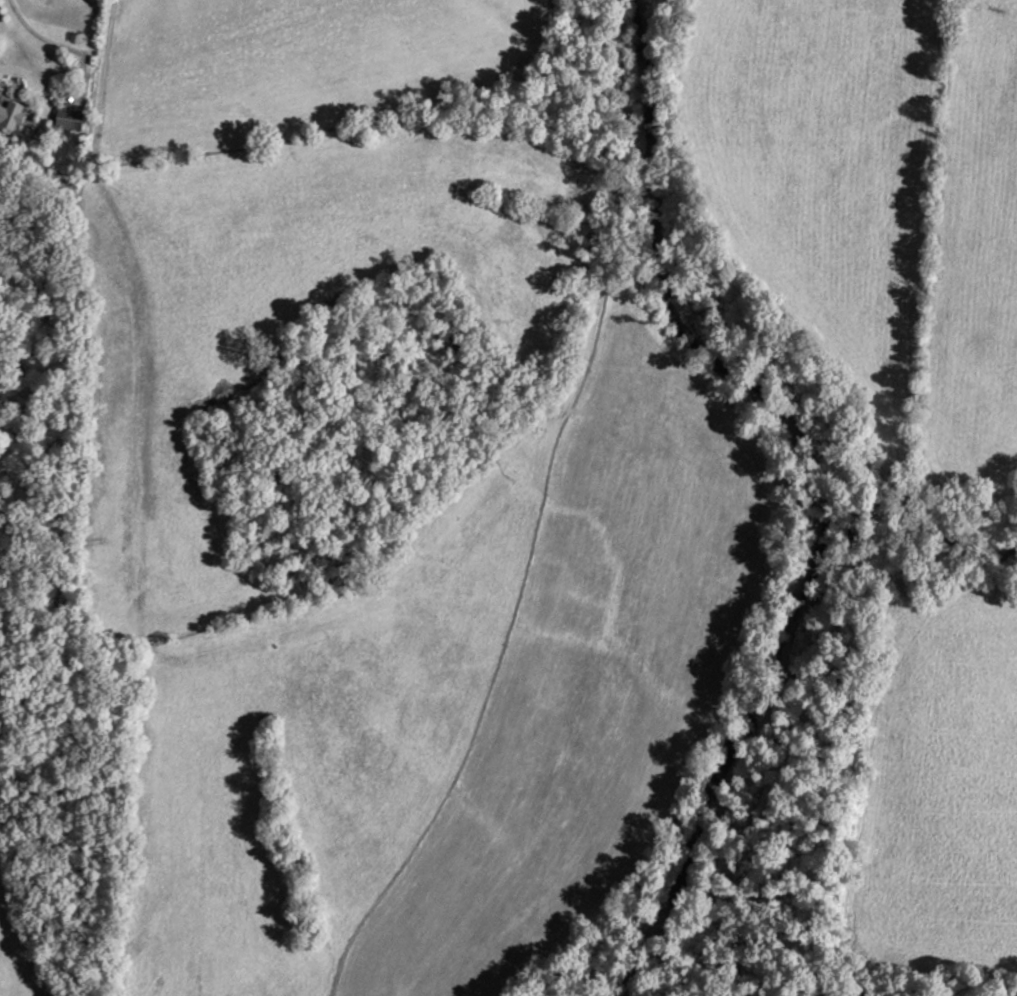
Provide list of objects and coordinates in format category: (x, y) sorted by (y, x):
building: (12, 115)
building: (66, 118)

